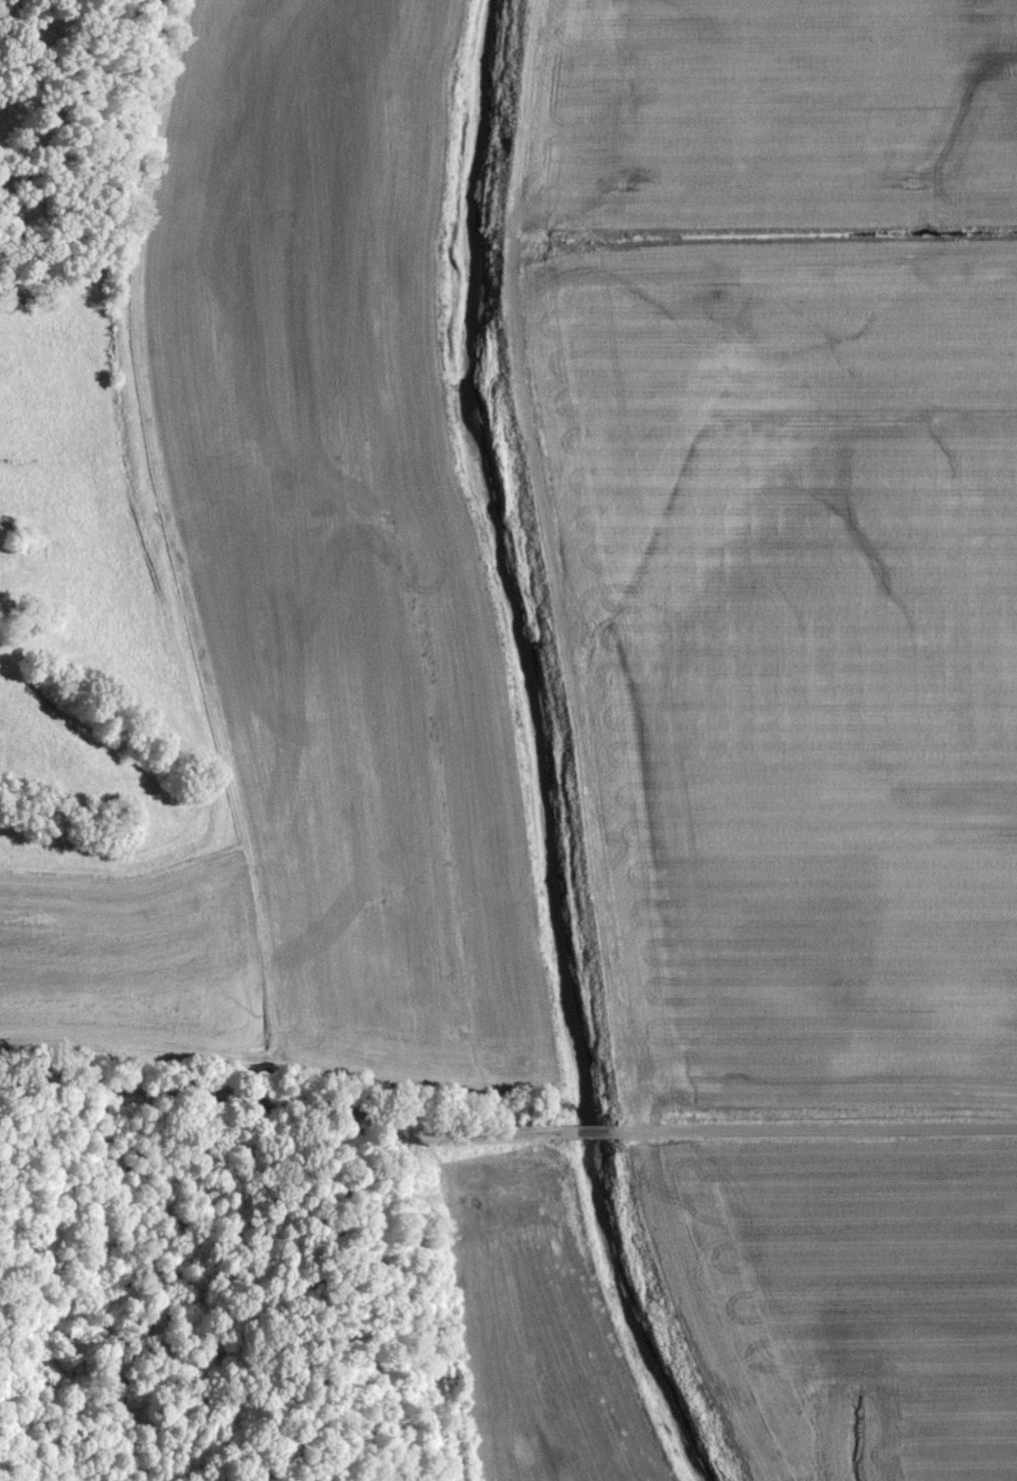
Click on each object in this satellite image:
road: (506, 1131)

